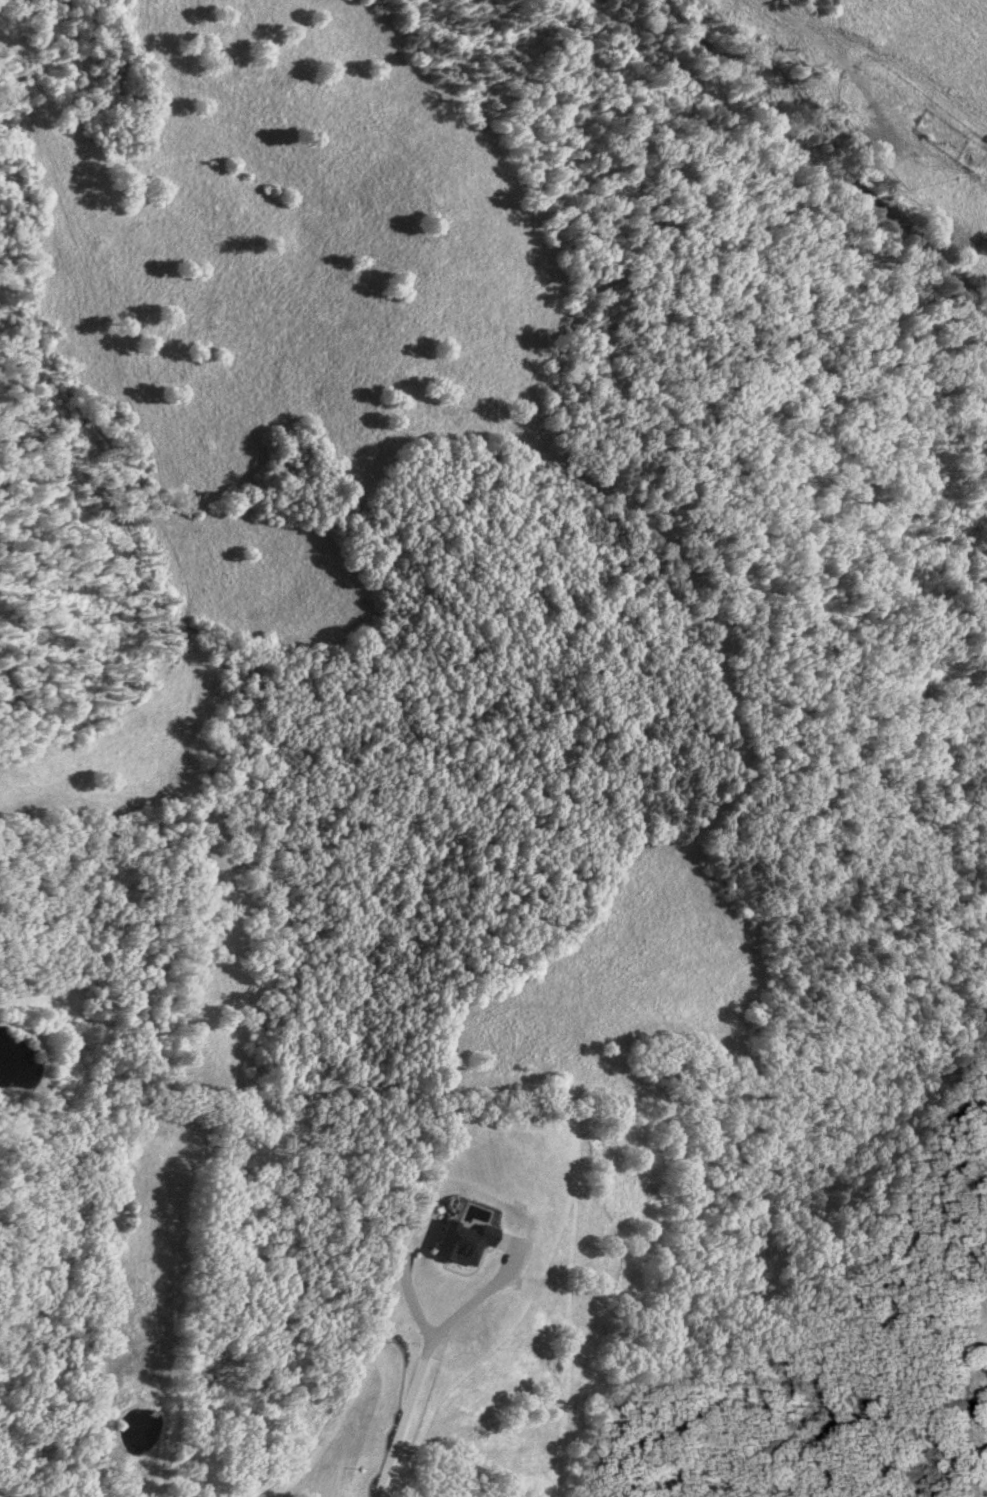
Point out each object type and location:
building: (510, 1276)
road: (402, 1277)
road: (421, 1356)

